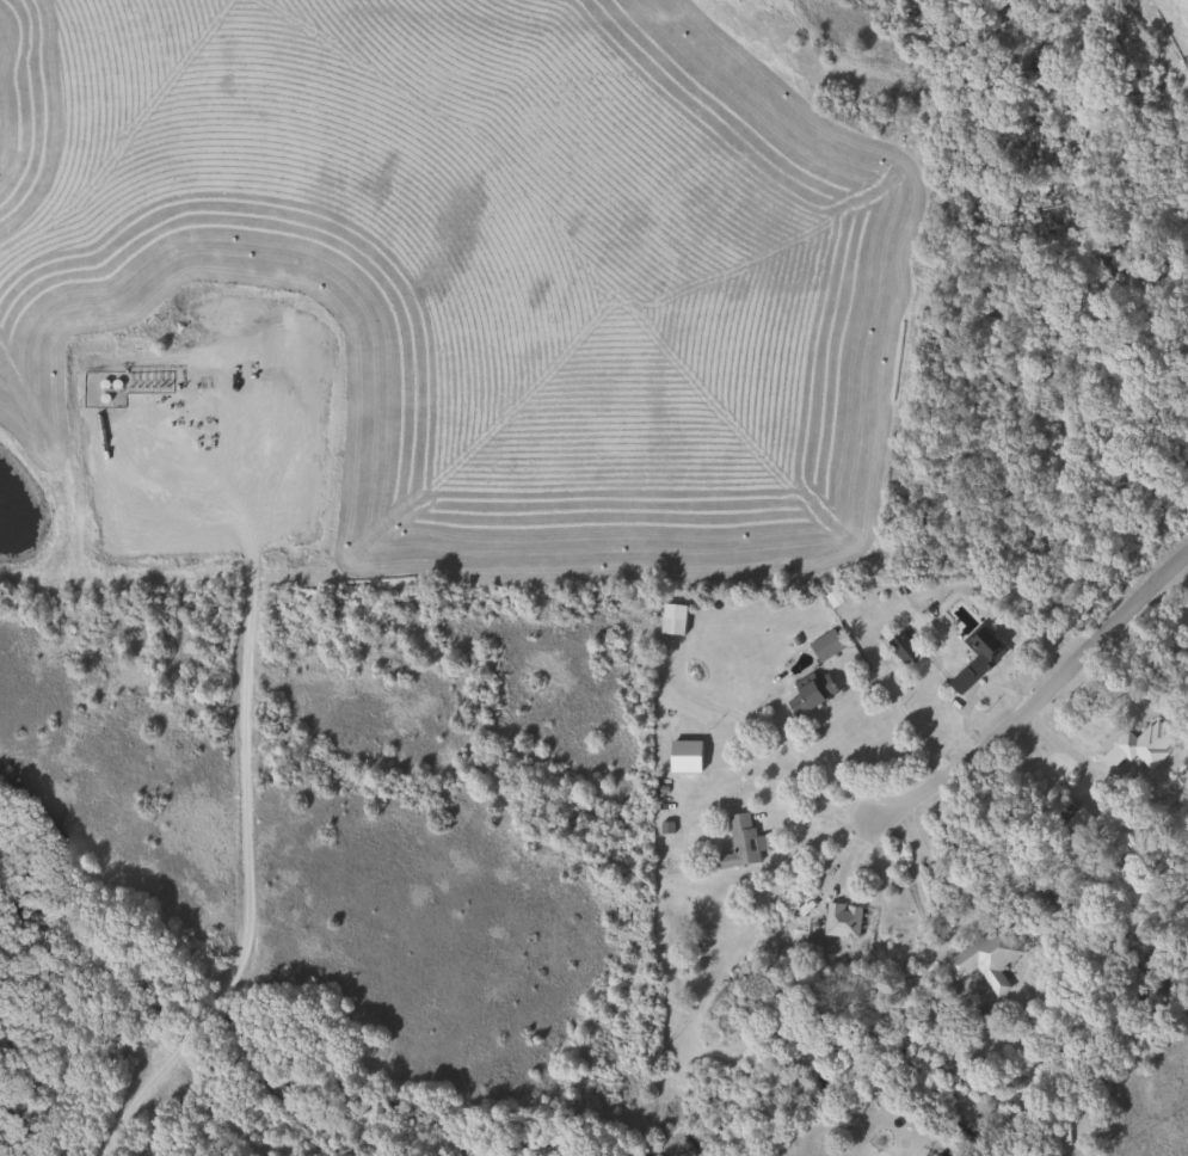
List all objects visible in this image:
building: (671, 619)
building: (901, 647)
building: (975, 659)
road: (1061, 683)
building: (808, 695)
road: (913, 722)
building: (1145, 744)
road: (817, 771)
road: (874, 835)
building: (740, 842)
road: (244, 883)
building: (841, 920)
road: (968, 927)
building: (985, 957)

